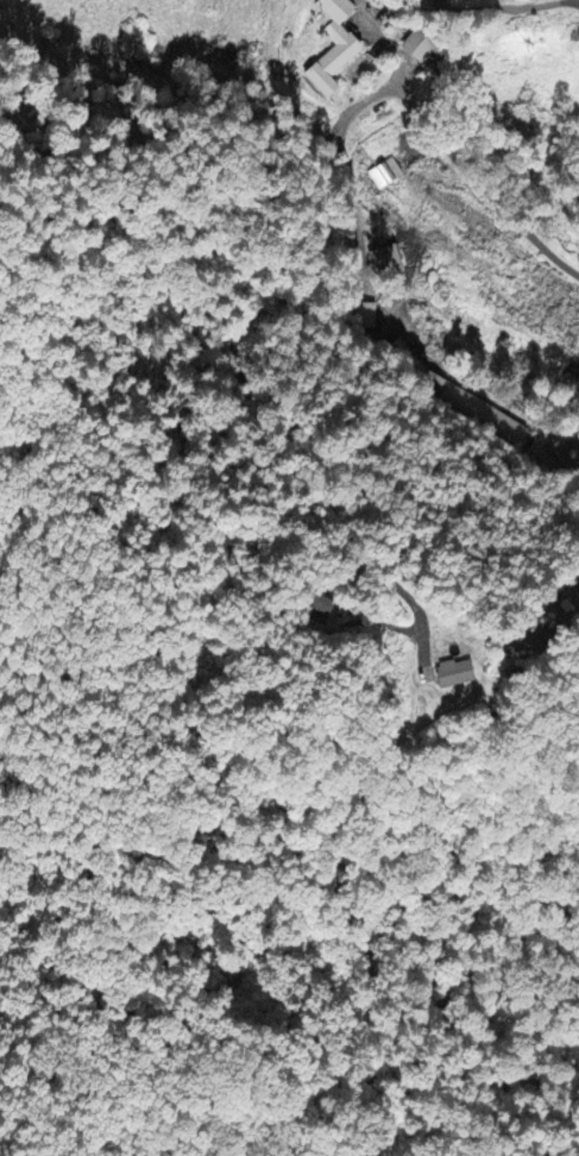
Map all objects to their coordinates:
road: (508, 7)
building: (346, 48)
building: (416, 48)
road: (451, 150)
building: (384, 263)
building: (365, 316)
road: (239, 364)
building: (472, 409)
building: (320, 605)
building: (452, 676)

